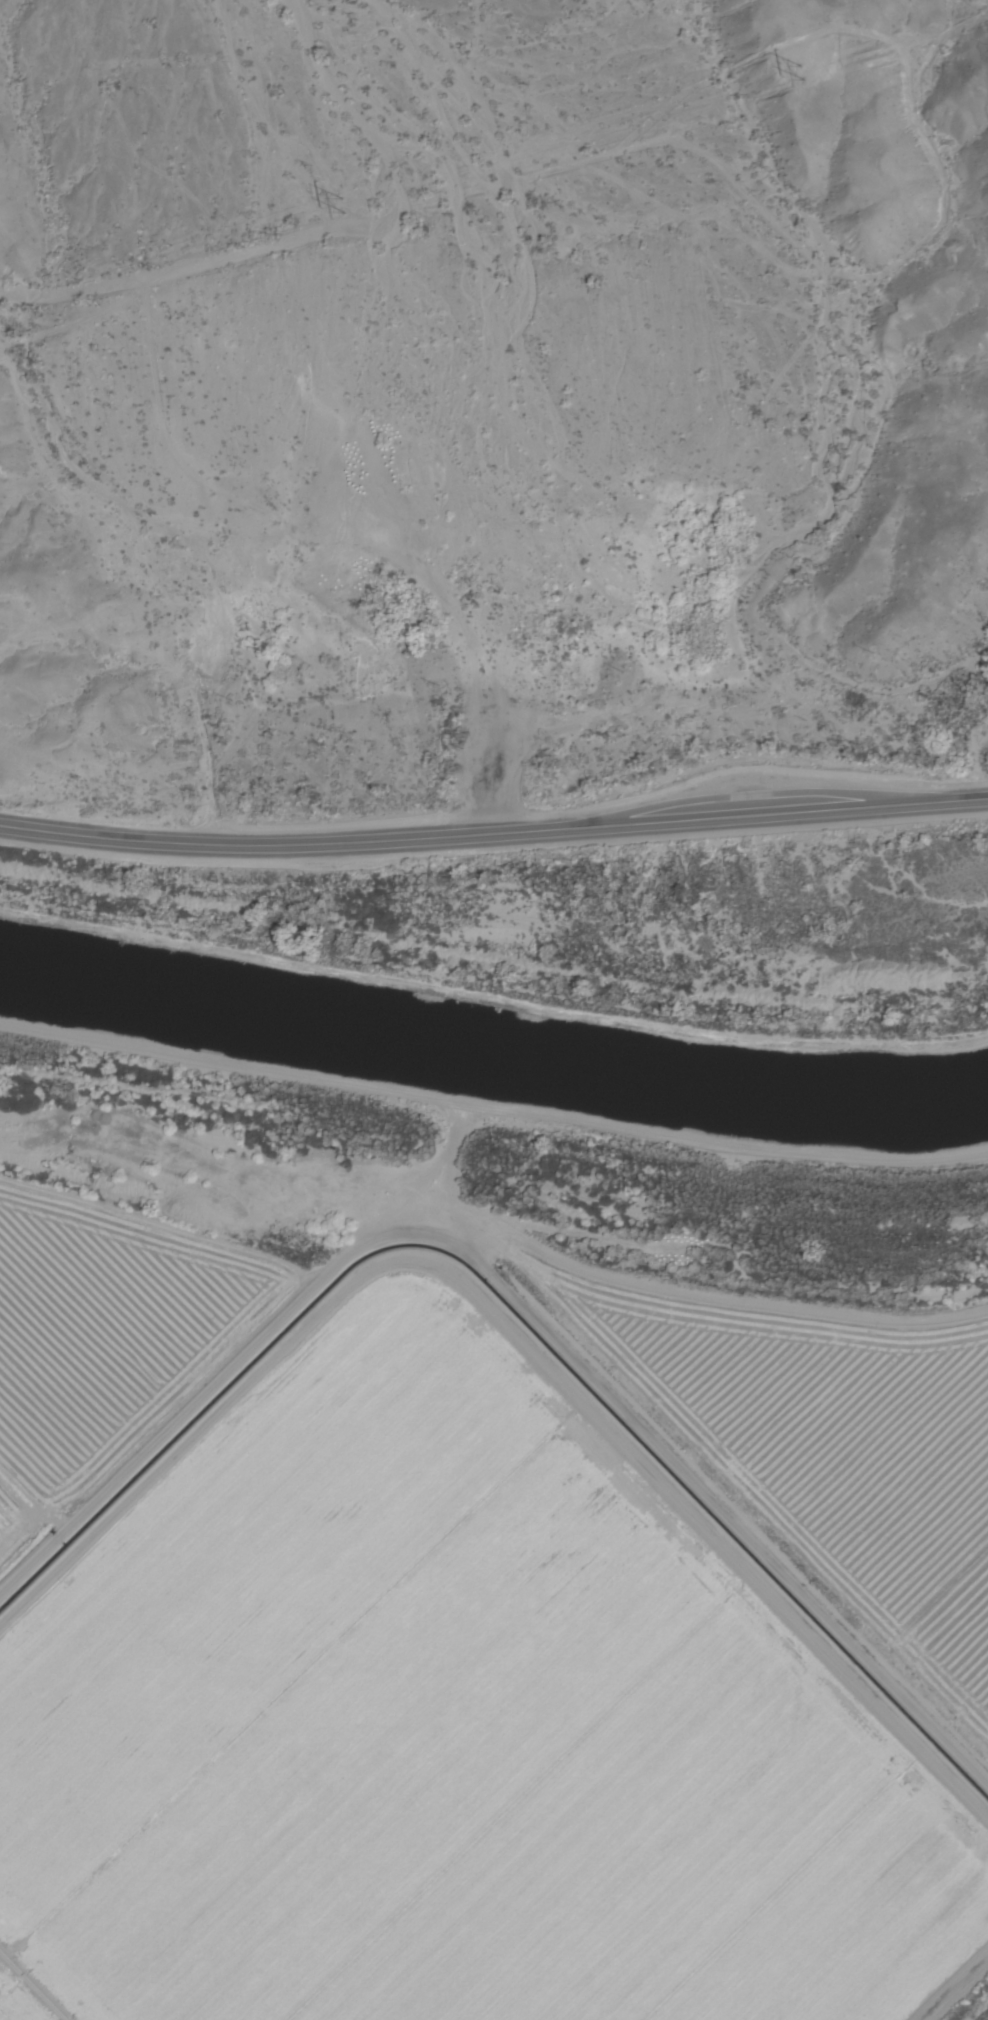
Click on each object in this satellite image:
power tower: (805, 74)
power tower: (352, 202)
road: (493, 834)
crop: (12, 1516)

